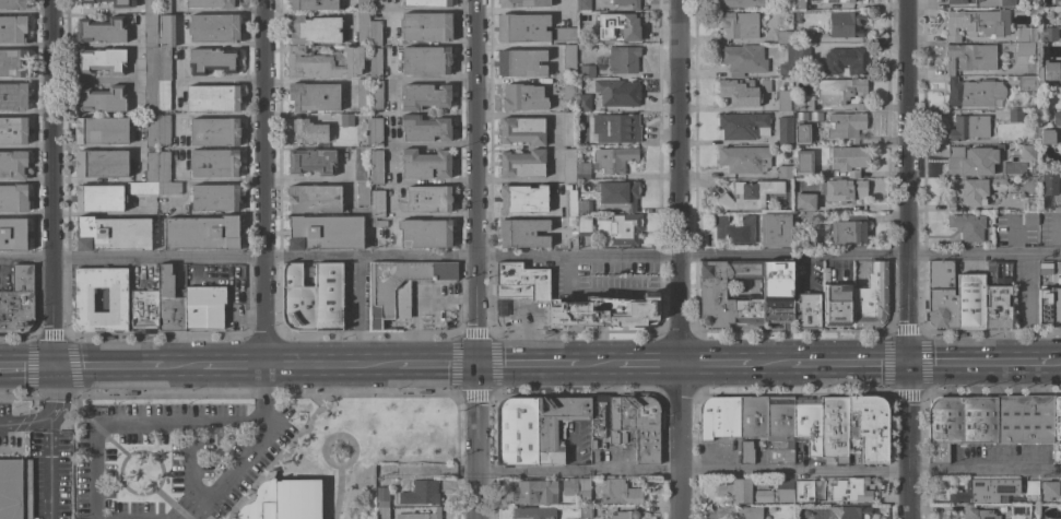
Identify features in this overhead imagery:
building: (837, 1)
building: (963, 1)
building: (114, 2)
building: (598, 2)
building: (213, 3)
building: (362, 3)
building: (426, 3)
building: (521, 3)
building: (626, 3)
building: (741, 3)
building: (1006, 3)
building: (1046, 3)
building: (13, 4)
building: (313, 4)
building: (582, 4)
building: (799, 4)
building: (1028, 5)
building: (151, 7)
building: (163, 7)
road: (432, 8)
road: (98, 10)
building: (1019, 10)
building: (1034, 11)
building: (797, 15)
building: (738, 24)
building: (846, 24)
building: (976, 24)
building: (620, 25)
building: (363, 26)
building: (425, 26)
building: (522, 27)
building: (214, 28)
building: (12, 30)
building: (314, 30)
building: (101, 31)
building: (166, 31)
building: (374, 33)
building: (563, 34)
building: (1026, 34)
building: (1047, 34)
building: (805, 36)
building: (782, 37)
building: (583, 38)
road: (432, 43)
building: (1024, 49)
building: (801, 54)
building: (568, 57)
building: (970, 58)
building: (623, 59)
building: (742, 59)
building: (102, 60)
building: (212, 60)
building: (425, 60)
building: (846, 61)
building: (520, 62)
building: (13, 63)
building: (325, 63)
building: (375, 63)
building: (787, 63)
building: (154, 69)
building: (1050, 70)
building: (587, 71)
road: (219, 78)
road: (432, 78)
road: (314, 81)
building: (1027, 84)
building: (568, 89)
building: (614, 91)
building: (742, 92)
building: (975, 93)
building: (376, 94)
building: (363, 95)
building: (424, 96)
building: (835, 96)
building: (13, 97)
building: (313, 97)
building: (522, 97)
building: (213, 98)
building: (101, 99)
building: (782, 101)
building: (582, 102)
building: (1014, 116)
building: (801, 117)
building: (1057, 118)
building: (346, 120)
building: (742, 125)
building: (845, 126)
building: (424, 128)
building: (616, 128)
building: (971, 128)
road: (390, 129)
building: (568, 129)
building: (102, 130)
building: (163, 130)
building: (521, 130)
building: (785, 130)
building: (13, 131)
building: (307, 131)
building: (150, 132)
building: (214, 132)
building: (375, 132)
building: (801, 133)
building: (1047, 137)
road: (432, 144)
road: (552, 145)
building: (778, 150)
building: (1027, 155)
building: (744, 158)
building: (848, 158)
building: (613, 160)
building: (969, 160)
building: (311, 161)
building: (214, 163)
building: (803, 163)
building: (13, 164)
building: (102, 164)
building: (361, 164)
building: (425, 164)
building: (521, 164)
building: (568, 165)
building: (376, 166)
building: (582, 170)
building: (783, 172)
building: (155, 176)
road: (50, 181)
road: (906, 181)
road: (262, 182)
road: (432, 182)
building: (1048, 182)
building: (845, 190)
building: (970, 190)
building: (363, 193)
building: (617, 194)
building: (748, 194)
building: (214, 197)
building: (13, 198)
building: (99, 198)
building: (313, 199)
building: (428, 199)
building: (522, 199)
building: (569, 201)
building: (803, 202)
building: (376, 203)
building: (1028, 203)
building: (583, 207)
road: (432, 214)
building: (1029, 219)
building: (378, 222)
building: (570, 222)
building: (583, 225)
building: (967, 226)
building: (625, 228)
building: (774, 229)
building: (732, 231)
building: (849, 231)
building: (113, 233)
building: (201, 233)
building: (325, 233)
building: (425, 233)
building: (522, 233)
building: (13, 234)
road: (530, 257)
road: (474, 259)
road: (675, 259)
building: (519, 284)
building: (400, 286)
building: (712, 287)
building: (777, 292)
building: (939, 295)
building: (997, 295)
building: (311, 298)
building: (871, 298)
building: (969, 300)
building: (81, 302)
building: (168, 302)
building: (19, 304)
building: (204, 306)
building: (838, 306)
building: (1049, 307)
building: (143, 310)
building: (605, 311)
building: (806, 311)
road: (25, 364)
road: (111, 364)
road: (979, 364)
road: (1056, 364)
traffic signals: (50, 365)
road: (219, 365)
road: (712, 365)
road: (768, 365)
road: (847, 365)
traffic signals: (907, 365)
road: (329, 366)
road: (435, 366)
traffic signals: (475, 366)
road: (527, 366)
road: (598, 366)
road: (647, 366)
road: (51, 391)
road: (282, 393)
building: (753, 416)
building: (720, 417)
building: (1025, 418)
road: (32, 420)
building: (807, 423)
building: (960, 423)
building: (627, 424)
road: (5, 425)
road: (163, 425)
building: (869, 427)
building: (834, 428)
building: (780, 429)
building: (1057, 429)
building: (517, 430)
building: (546, 434)
road: (339, 435)
road: (51, 439)
road: (908, 441)
building: (746, 451)
road: (139, 452)
parking lot: (182, 455)
park: (249, 456)
road: (767, 472)
road: (313, 480)
building: (583, 486)
building: (559, 487)
building: (1031, 487)
building: (15, 488)
building: (807, 488)
road: (49, 489)
building: (851, 489)
building: (1049, 489)
building: (527, 492)
building: (757, 492)
building: (985, 492)
road: (339, 493)
building: (420, 493)
building: (621, 493)
road: (215, 495)
building: (382, 496)
building: (284, 500)
road: (174, 504)
building: (1019, 510)
building: (585, 511)
building: (381, 512)
building: (739, 512)
building: (847, 512)
building: (976, 512)
building: (533, 514)
building: (420, 515)
building: (625, 515)

